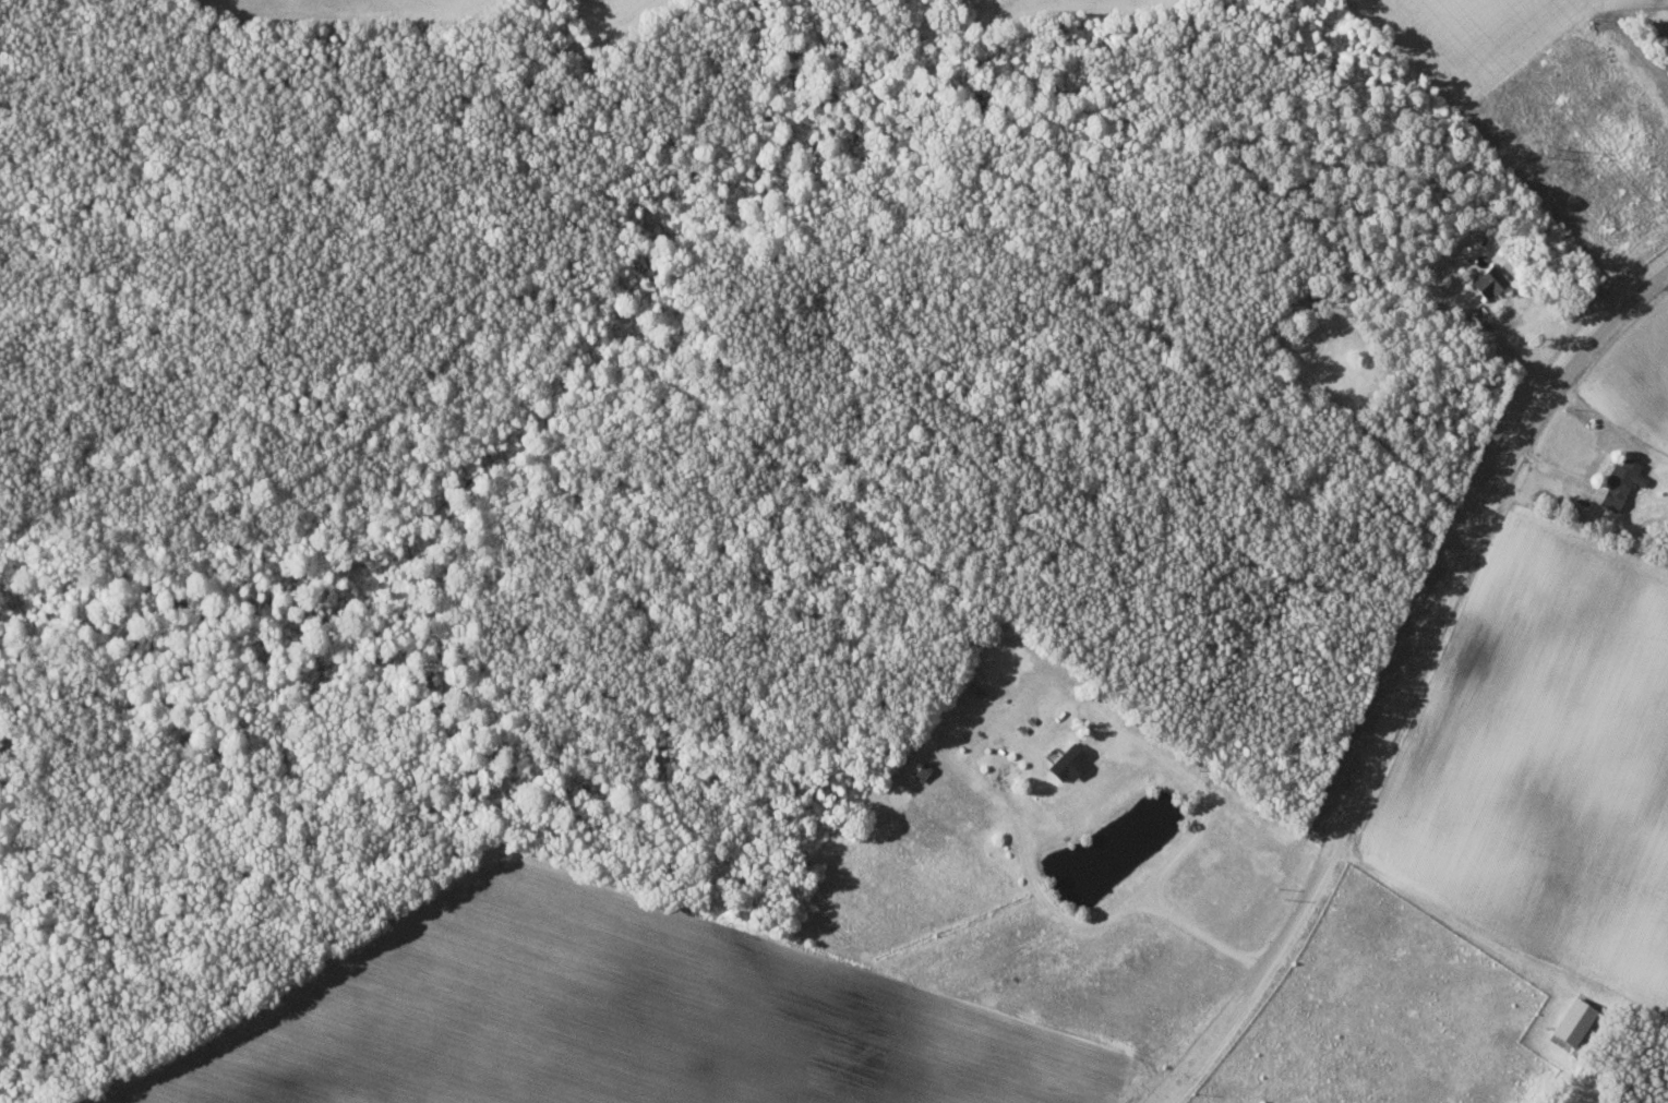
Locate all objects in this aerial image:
power tower: (1547, 151)
power tower: (1663, 207)
building: (1487, 280)
building: (1620, 481)
road: (1407, 681)
building: (1066, 759)
building: (1575, 1021)

